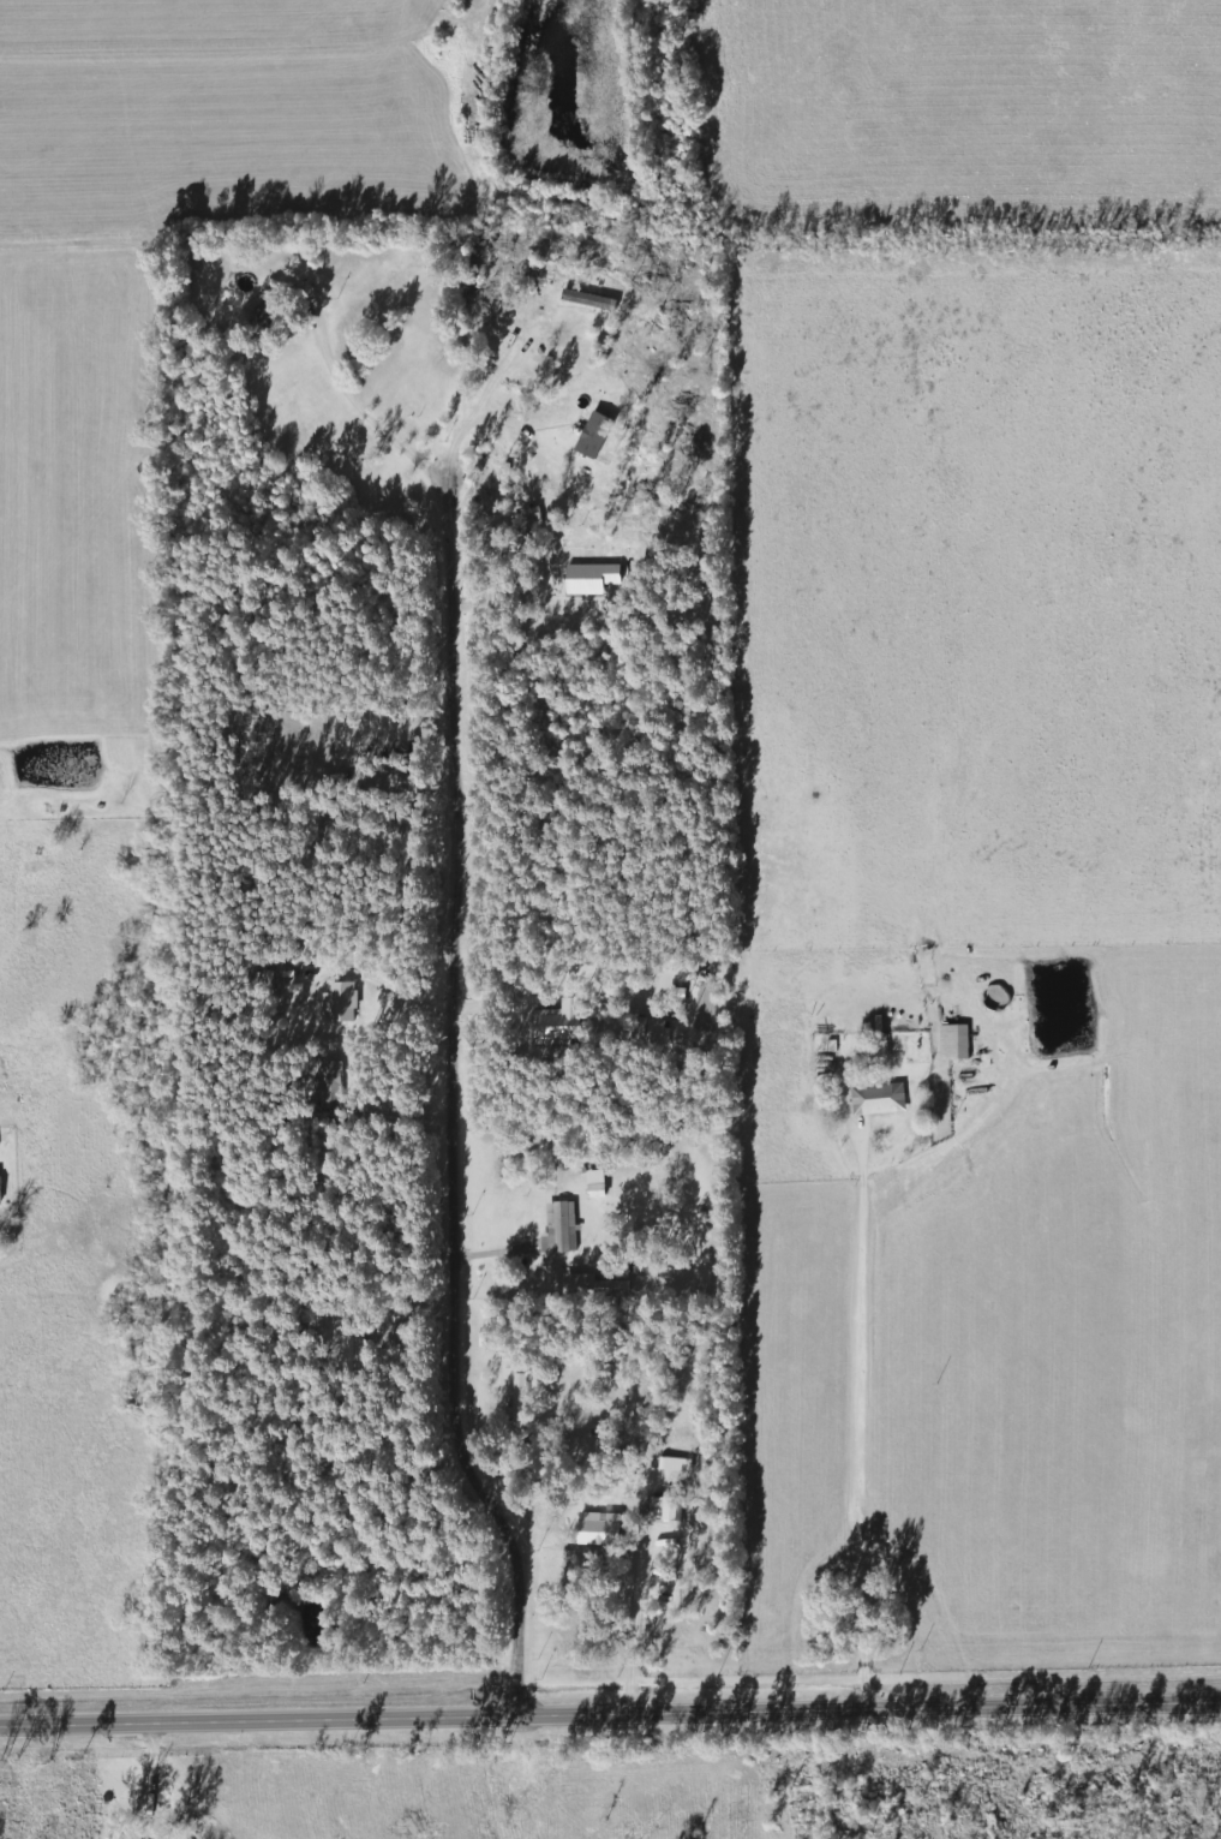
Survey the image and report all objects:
building: (569, 286)
building: (303, 291)
building: (267, 309)
road: (363, 412)
building: (550, 416)
road: (484, 418)
road: (525, 603)
road: (544, 963)
road: (393, 992)
building: (953, 1041)
building: (876, 1098)
road: (451, 1104)
building: (559, 1226)
building: (599, 1286)
building: (517, 1402)
road: (861, 1423)
building: (663, 1509)
road: (628, 1623)
road: (610, 1712)

